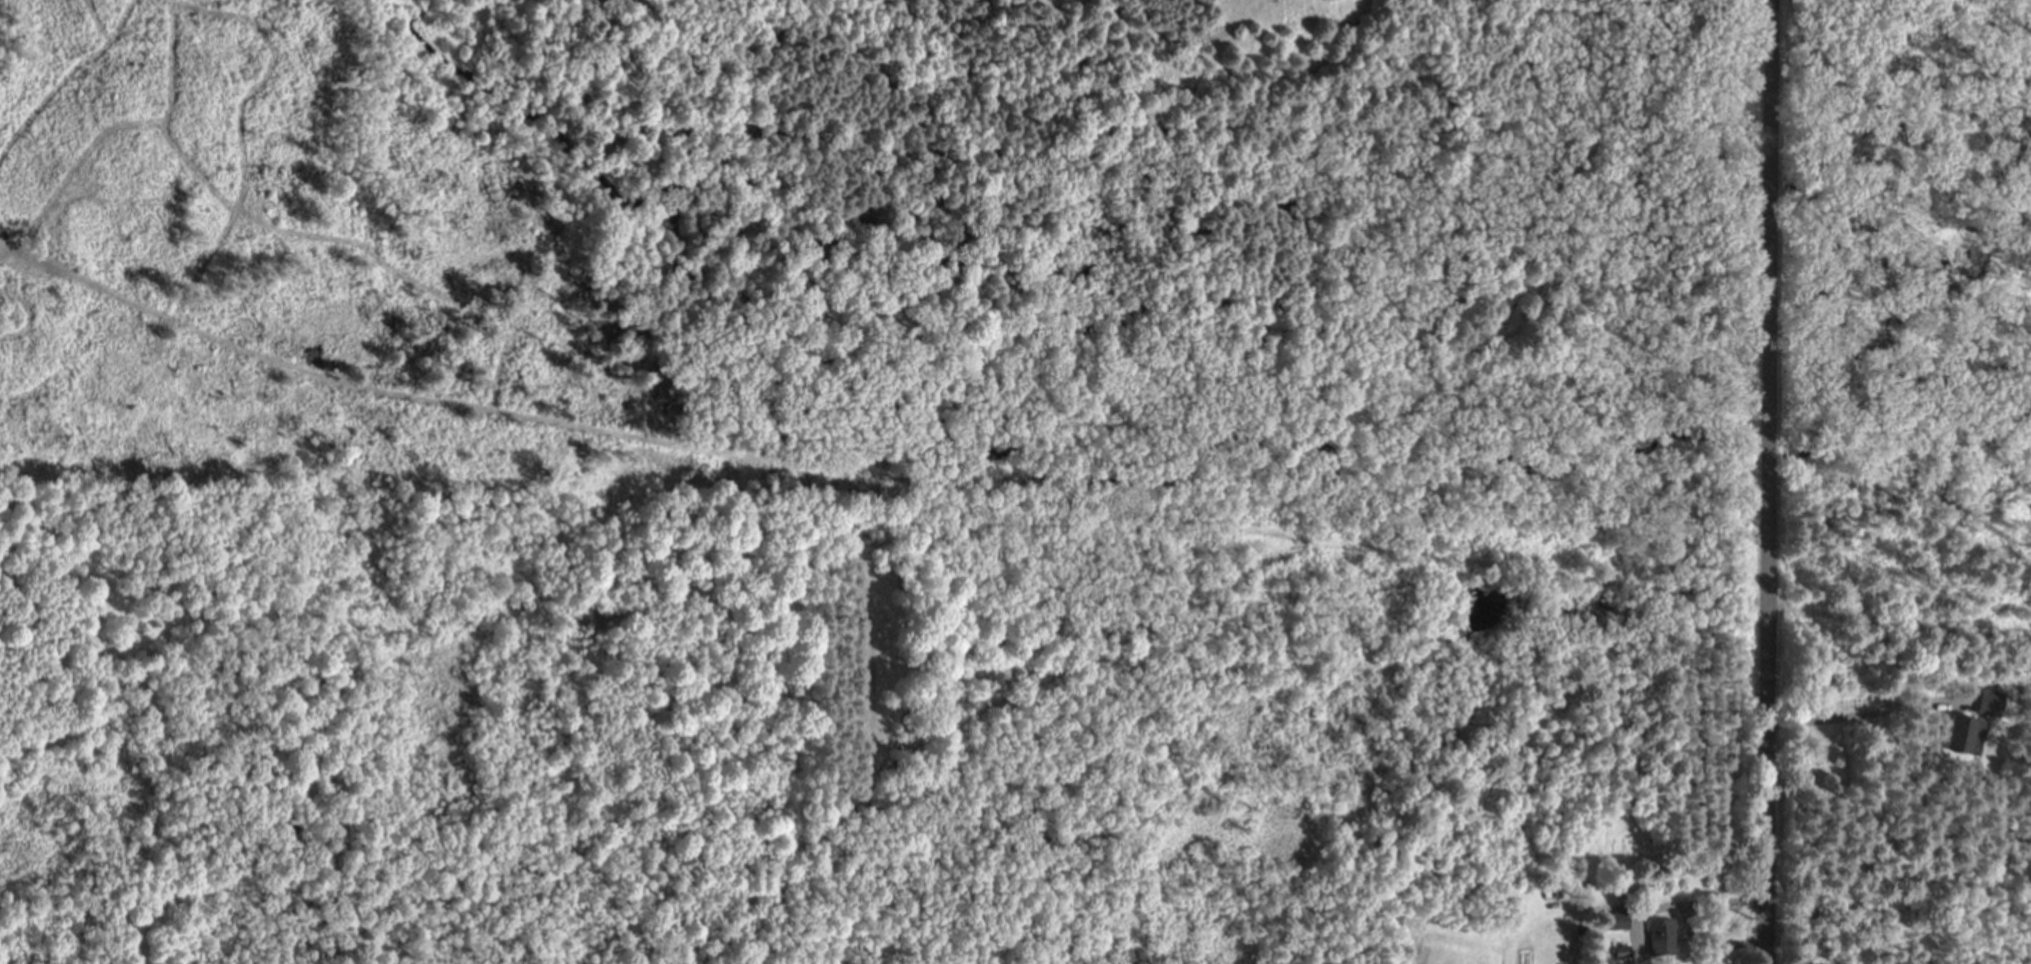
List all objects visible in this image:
road: (1773, 482)
road: (1850, 716)
building: (1962, 736)
road: (1716, 905)
building: (1612, 922)
building: (1659, 939)

